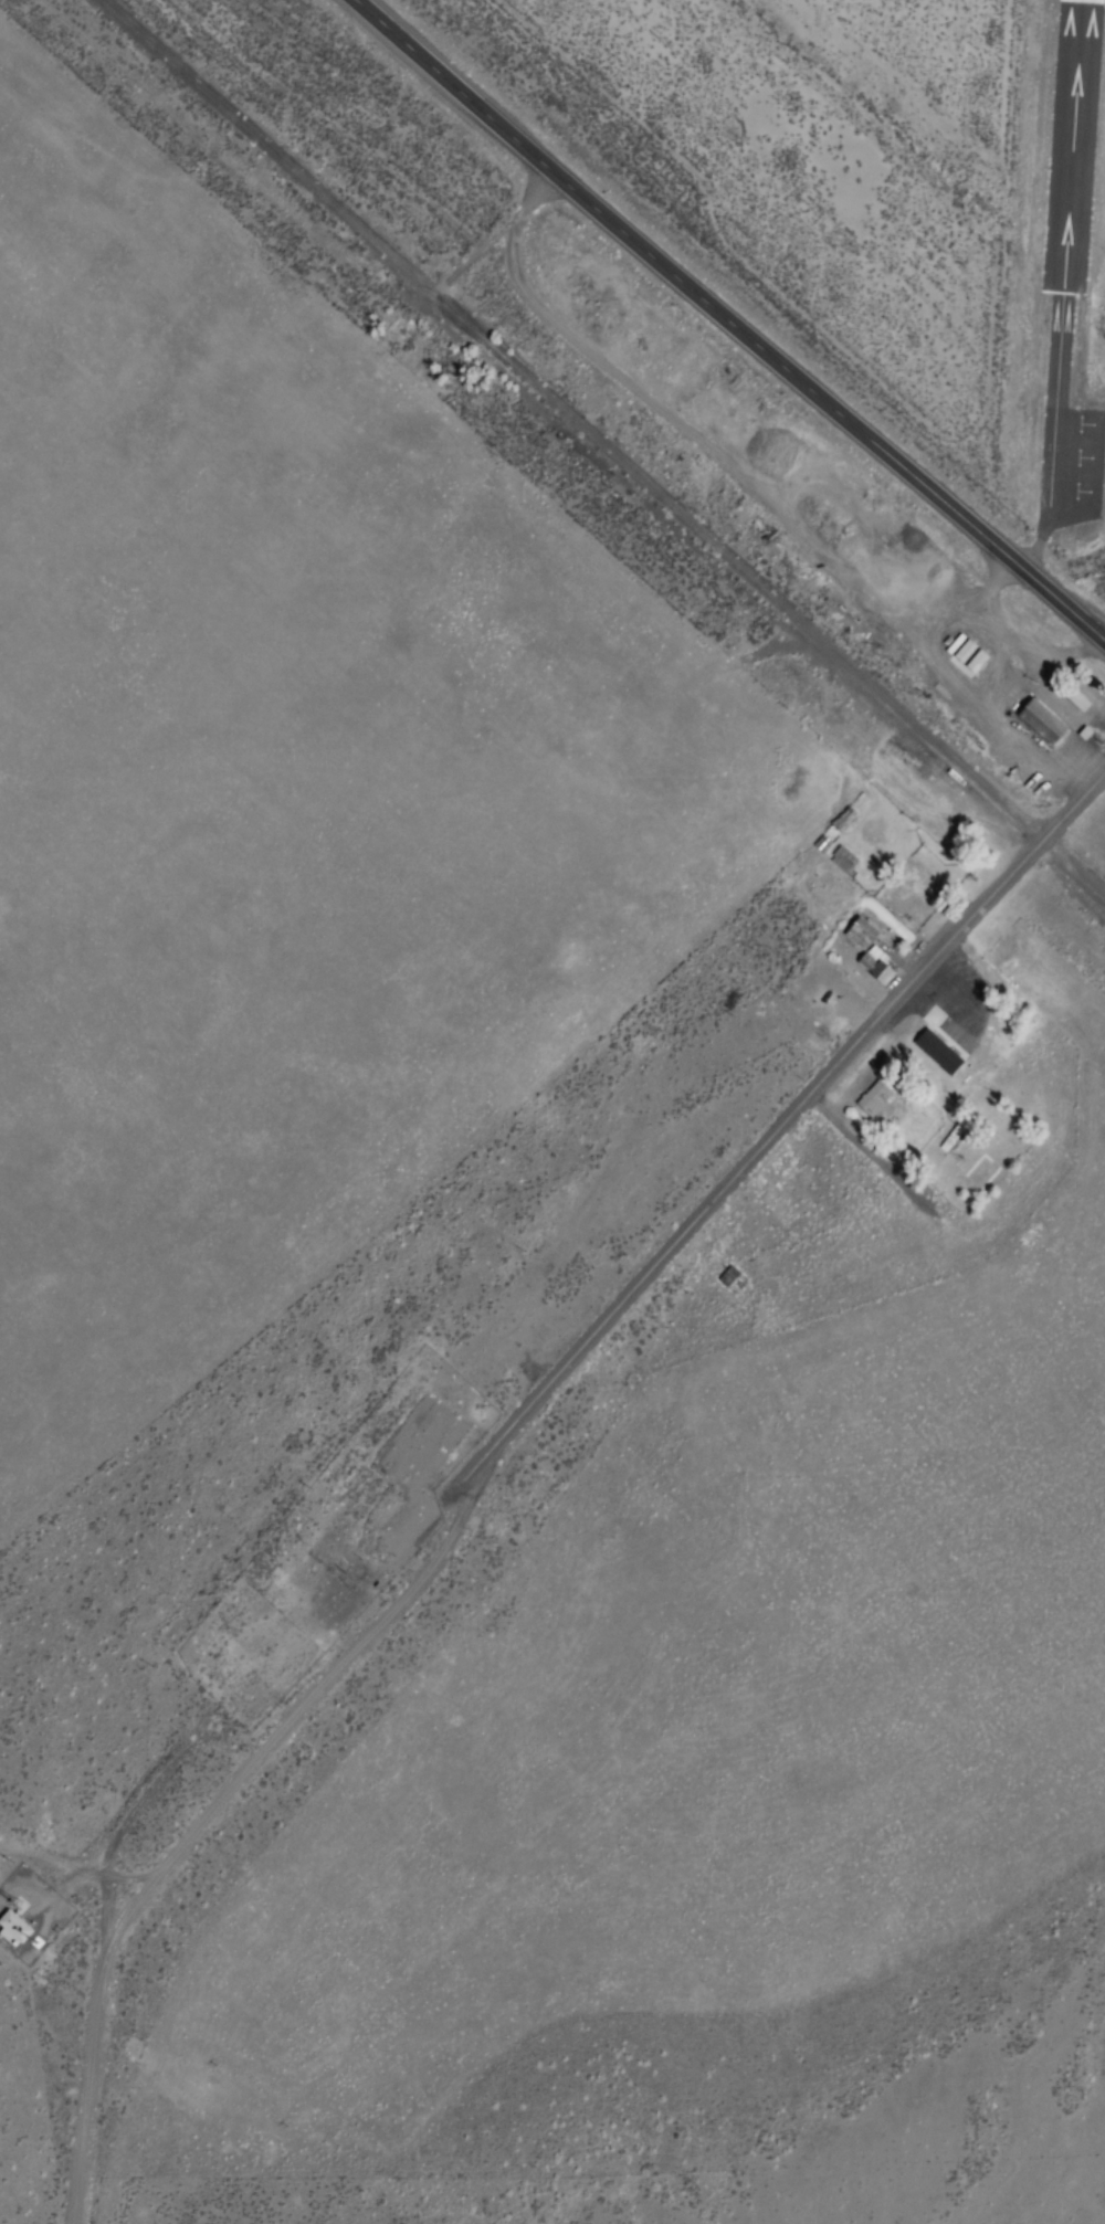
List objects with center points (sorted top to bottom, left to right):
airport runway: (1072, 267)
road: (729, 322)
airport apron: (1099, 493)
building: (974, 656)
building: (1078, 700)
building: (1051, 726)
building: (861, 934)
building: (876, 966)
building: (939, 1041)
building: (733, 1279)
road: (491, 1446)

